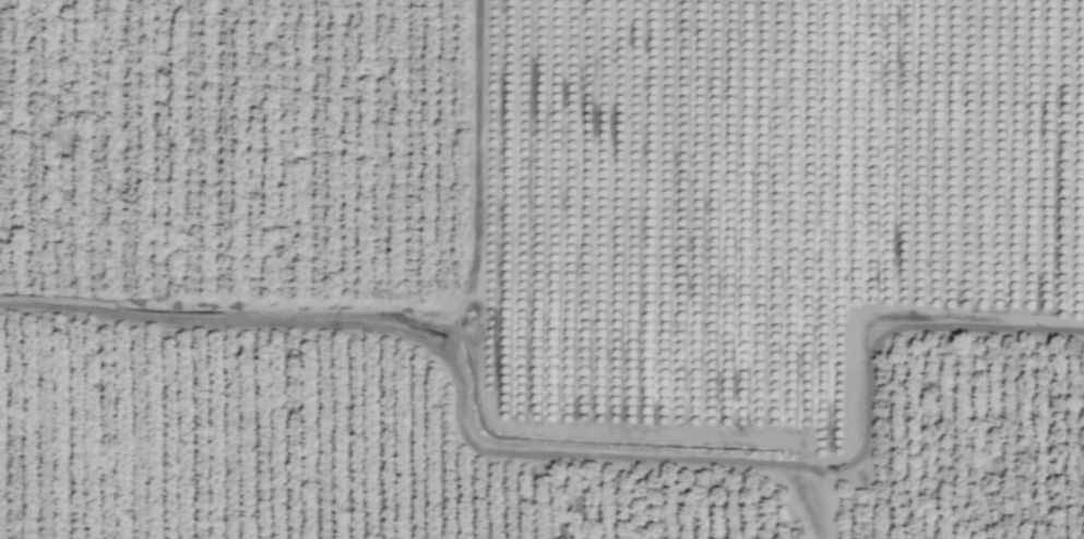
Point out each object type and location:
road: (191, 321)

